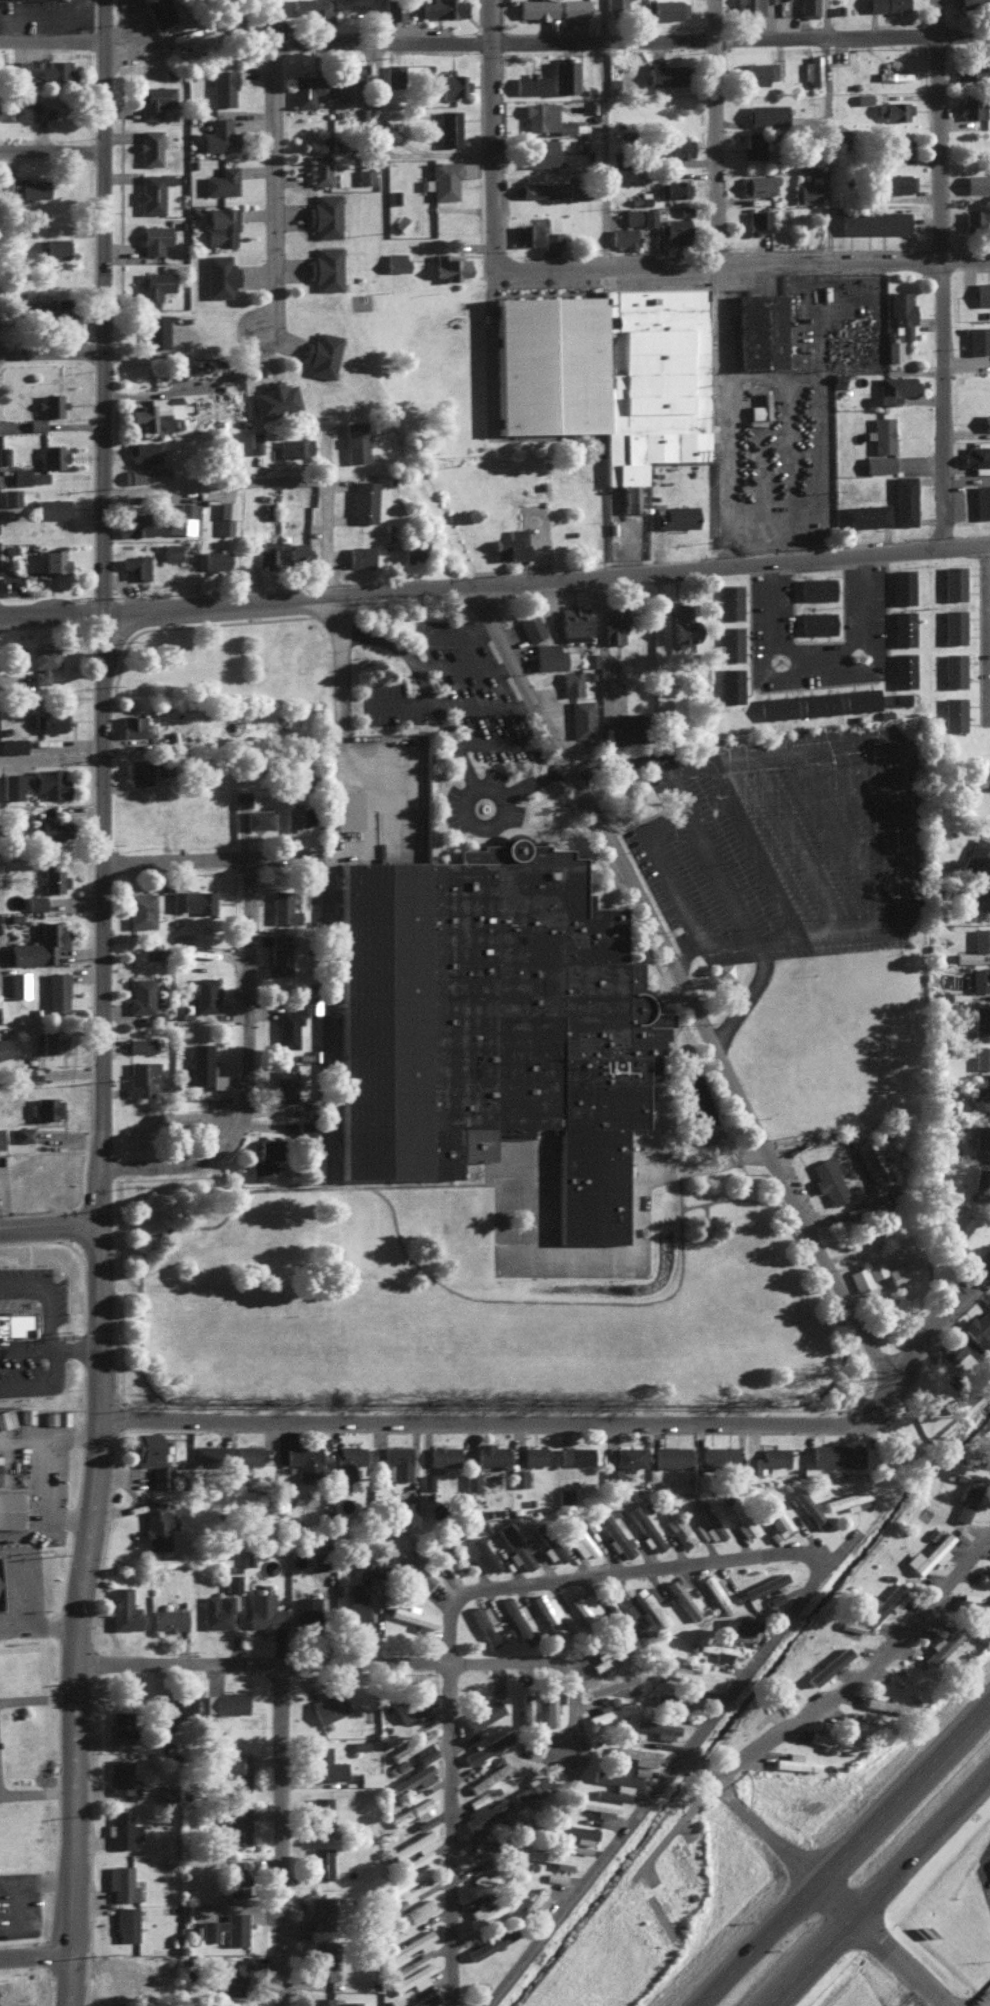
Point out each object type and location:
building: (141, 0)
building: (769, 0)
building: (971, 3)
building: (615, 5)
building: (748, 5)
building: (885, 5)
building: (574, 7)
building: (443, 8)
building: (536, 8)
building: (808, 8)
building: (669, 9)
building: (314, 10)
building: (157, 11)
building: (393, 11)
building: (550, 23)
road: (629, 38)
road: (52, 44)
building: (13, 68)
building: (812, 69)
building: (972, 69)
building: (44, 70)
building: (755, 72)
building: (664, 73)
building: (893, 74)
building: (393, 75)
building: (562, 75)
building: (347, 79)
building: (531, 82)
building: (445, 85)
building: (222, 87)
building: (307, 88)
building: (863, 97)
building: (154, 100)
building: (971, 106)
building: (893, 108)
building: (22, 110)
building: (765, 114)
building: (545, 117)
building: (448, 127)
road: (378, 129)
road: (837, 131)
road: (602, 132)
road: (724, 132)
road: (489, 133)
building: (218, 135)
building: (840, 135)
building: (752, 145)
building: (897, 146)
building: (149, 147)
building: (676, 147)
road: (52, 152)
building: (539, 152)
building: (894, 160)
road: (272, 167)
building: (318, 169)
building: (364, 175)
building: (447, 179)
building: (220, 181)
building: (895, 182)
building: (976, 182)
building: (757, 183)
building: (26, 184)
building: (673, 187)
building: (539, 189)
building: (574, 189)
building: (151, 191)
building: (805, 192)
building: (323, 214)
building: (976, 215)
building: (639, 216)
building: (875, 220)
building: (759, 221)
building: (401, 223)
building: (220, 226)
building: (676, 229)
building: (525, 233)
building: (622, 236)
building: (153, 238)
building: (553, 239)
building: (53, 249)
building: (395, 261)
road: (742, 263)
building: (449, 266)
building: (327, 267)
road: (950, 273)
building: (218, 276)
building: (154, 284)
building: (982, 292)
building: (4, 305)
building: (50, 306)
road: (104, 308)
building: (901, 314)
building: (759, 328)
building: (154, 329)
building: (978, 338)
building: (893, 349)
building: (321, 353)
road: (52, 355)
building: (604, 365)
building: (895, 386)
building: (275, 397)
building: (52, 400)
building: (156, 411)
building: (757, 411)
road: (732, 414)
building: (986, 418)
building: (35, 423)
building: (255, 440)
building: (354, 440)
building: (294, 445)
building: (881, 445)
building: (143, 450)
building: (4, 453)
building: (975, 455)
building: (50, 457)
building: (141, 474)
building: (28, 475)
road: (219, 488)
building: (9, 495)
building: (903, 498)
building: (981, 499)
building: (363, 500)
building: (53, 507)
building: (862, 514)
building: (224, 516)
building: (675, 516)
building: (184, 517)
building: (135, 522)
building: (511, 543)
building: (297, 549)
building: (409, 549)
building: (171, 550)
building: (265, 551)
building: (359, 554)
building: (54, 558)
building: (215, 558)
building: (134, 564)
road: (545, 580)
building: (953, 581)
building: (901, 585)
building: (815, 587)
building: (730, 600)
road: (51, 617)
building: (573, 621)
building: (816, 622)
building: (682, 623)
building: (613, 624)
building: (530, 625)
building: (953, 625)
building: (902, 627)
road: (463, 628)
road: (348, 639)
building: (730, 642)
road: (603, 653)
building: (552, 656)
building: (589, 658)
road: (830, 660)
building: (42, 662)
road: (466, 665)
building: (902, 668)
building: (953, 668)
building: (571, 682)
building: (730, 684)
building: (899, 697)
building: (860, 698)
building: (817, 702)
road: (488, 706)
building: (775, 706)
building: (953, 712)
building: (581, 717)
building: (49, 720)
building: (625, 725)
building: (132, 726)
road: (506, 742)
building: (12, 744)
road: (452, 744)
building: (158, 766)
building: (135, 769)
building: (50, 782)
building: (12, 784)
building: (241, 798)
road: (871, 803)
building: (344, 808)
building: (294, 816)
building: (258, 818)
building: (52, 829)
road: (903, 831)
road: (844, 838)
road: (798, 844)
road: (757, 851)
building: (976, 855)
road: (228, 861)
road: (723, 866)
road: (675, 875)
building: (51, 876)
road: (100, 893)
building: (977, 895)
building: (282, 899)
building: (192, 900)
building: (35, 902)
road: (0, 907)
building: (142, 908)
building: (981, 938)
building: (53, 939)
building: (281, 950)
building: (966, 956)
building: (723, 968)
building: (979, 978)
building: (18, 985)
road: (692, 986)
building: (57, 989)
building: (139, 994)
building: (203, 994)
building: (309, 1003)
building: (981, 1021)
building: (490, 1022)
building: (288, 1025)
building: (50, 1040)
building: (140, 1044)
building: (3, 1048)
building: (981, 1056)
building: (200, 1060)
building: (29, 1072)
building: (140, 1077)
road: (258, 1080)
building: (285, 1086)
building: (979, 1096)
building: (46, 1107)
building: (180, 1117)
building: (305, 1127)
building: (23, 1133)
building: (981, 1135)
building: (0, 1138)
building: (264, 1159)
building: (873, 1160)
road: (706, 1165)
building: (828, 1180)
road: (97, 1197)
building: (960, 1222)
road: (48, 1228)
building: (875, 1268)
building: (904, 1269)
building: (859, 1278)
road: (97, 1285)
building: (14, 1323)
road: (942, 1328)
building: (978, 1330)
building: (951, 1351)
building: (988, 1359)
road: (98, 1381)
building: (25, 1414)
building: (55, 1416)
building: (6, 1417)
road: (514, 1424)
road: (45, 1453)
building: (247, 1453)
building: (490, 1454)
building: (533, 1454)
building: (575, 1454)
building: (836, 1454)
building: (210, 1455)
building: (443, 1455)
building: (670, 1455)
building: (718, 1455)
building: (629, 1456)
building: (150, 1457)
building: (766, 1458)
building: (347, 1460)
building: (392, 1460)
building: (304, 1461)
building: (612, 1476)
building: (518, 1477)
building: (471, 1480)
building: (426, 1481)
building: (564, 1494)
building: (967, 1497)
building: (845, 1499)
building: (17, 1509)
building: (403, 1512)
building: (775, 1513)
building: (588, 1521)
building: (712, 1523)
building: (156, 1525)
building: (677, 1525)
building: (745, 1526)
building: (645, 1527)
building: (697, 1530)
building: (579, 1539)
road: (24, 1546)
building: (484, 1553)
building: (929, 1553)
road: (725, 1558)
building: (319, 1561)
building: (364, 1564)
building: (413, 1566)
building: (984, 1577)
building: (232, 1581)
building: (3, 1585)
building: (764, 1585)
building: (716, 1592)
building: (773, 1598)
building: (682, 1599)
building: (885, 1602)
building: (650, 1603)
building: (585, 1605)
building: (621, 1607)
building: (355, 1608)
building: (122, 1609)
building: (216, 1610)
building: (264, 1611)
building: (305, 1612)
building: (410, 1615)
building: (548, 1615)
building: (641, 1617)
building: (168, 1619)
building: (516, 1619)
building: (484, 1623)
building: (742, 1623)
building: (851, 1624)
road: (37, 1628)
road: (74, 1629)
building: (942, 1645)
building: (720, 1650)
building: (609, 1657)
road: (550, 1661)
road: (259, 1662)
building: (828, 1665)
building: (523, 1674)
road: (860, 1674)
building: (696, 1676)
building: (678, 1701)
building: (229, 1702)
building: (880, 1702)
road: (36, 1704)
building: (328, 1706)
building: (526, 1706)
building: (410, 1707)
building: (549, 1707)
building: (177, 1711)
building: (612, 1711)
building: (482, 1713)
building: (853, 1721)
building: (119, 1722)
building: (657, 1728)
road: (947, 1739)
building: (831, 1742)
building: (415, 1748)
building: (636, 1755)
road: (688, 1755)
building: (794, 1762)
road: (695, 1763)
building: (324, 1764)
building: (639, 1770)
building: (236, 1773)
building: (488, 1777)
building: (121, 1778)
building: (368, 1778)
building: (411, 1779)
building: (615, 1779)
building: (529, 1788)
building: (166, 1791)
road: (36, 1796)
building: (595, 1806)
building: (413, 1811)
building: (320, 1812)
building: (479, 1815)
building: (235, 1822)
building: (121, 1829)
building: (573, 1830)
road: (279, 1834)
road: (448, 1834)
building: (415, 1848)
building: (475, 1850)
building: (560, 1859)
building: (320, 1862)
road: (812, 1864)
building: (235, 1877)
building: (554, 1877)
road: (815, 1877)
road: (585, 1878)
building: (482, 1881)
road: (36, 1882)
building: (120, 1882)
road: (875, 1887)
road: (72, 1898)
road: (29, 1906)
building: (413, 1911)
building: (485, 1911)
building: (320, 1912)
building: (660, 1915)
building: (0, 1921)
building: (125, 1923)
building: (225, 1928)
building: (490, 1943)
building: (410, 1944)
road: (34, 1957)
building: (322, 1962)
road: (698, 1965)
building: (231, 1978)
building: (412, 1978)
road: (68, 1980)
road: (708, 1988)
road: (666, 1996)
road: (981, 1997)
building: (321, 2001)
building: (350, 2003)

